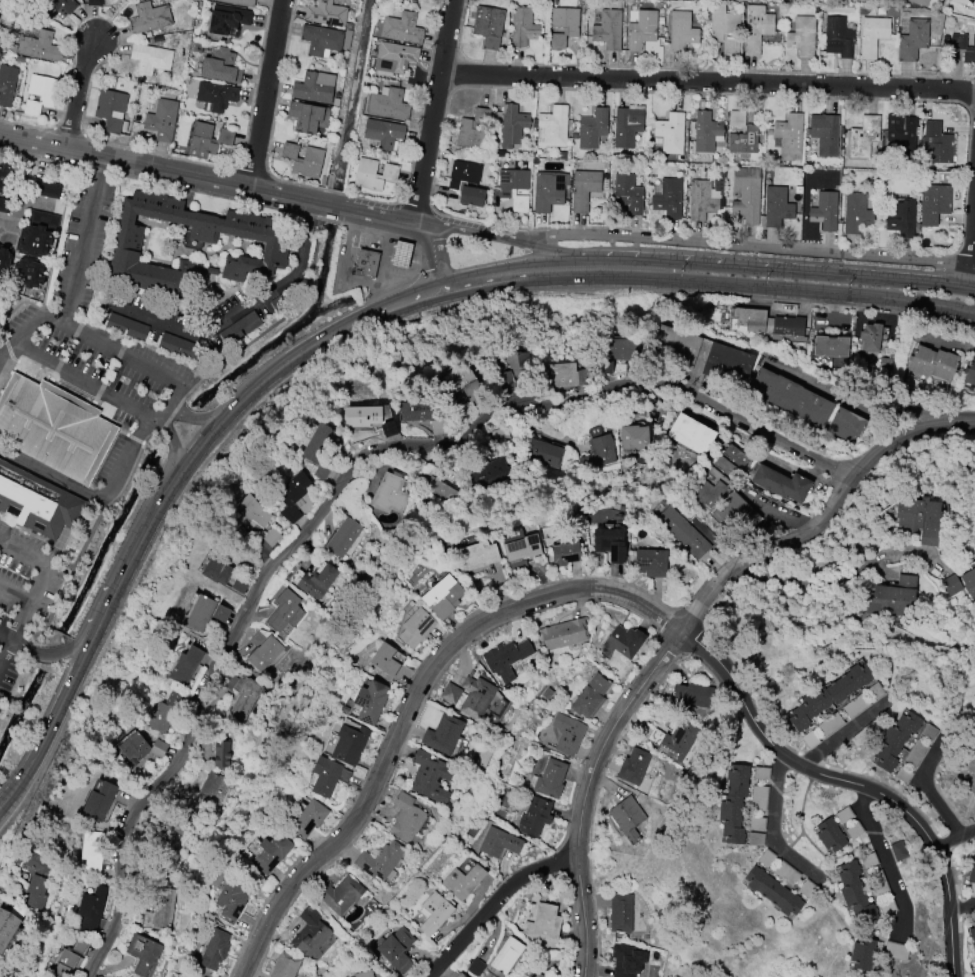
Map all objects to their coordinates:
building: (961, 1)
building: (95, 2)
building: (242, 2)
building: (923, 2)
building: (973, 5)
building: (59, 7)
building: (326, 13)
building: (150, 17)
building: (228, 20)
building: (489, 25)
building: (564, 26)
building: (524, 27)
building: (402, 28)
building: (724, 28)
building: (757, 28)
building: (609, 30)
building: (643, 30)
building: (682, 31)
building: (873, 35)
building: (801, 36)
building: (839, 36)
building: (322, 40)
building: (913, 40)
building: (36, 43)
building: (963, 47)
building: (395, 57)
building: (151, 58)
building: (222, 66)
road: (711, 81)
building: (7, 84)
building: (315, 87)
road: (266, 92)
building: (40, 94)
road: (78, 94)
building: (216, 96)
building: (389, 103)
building: (111, 108)
road: (438, 110)
building: (309, 117)
building: (162, 119)
building: (513, 125)
building: (553, 127)
building: (593, 128)
building: (626, 128)
building: (474, 130)
building: (707, 132)
building: (383, 133)
building: (671, 133)
building: (742, 134)
building: (826, 135)
building: (903, 135)
building: (864, 136)
building: (789, 137)
building: (208, 140)
building: (937, 145)
building: (303, 160)
building: (374, 174)
building: (4, 177)
road: (210, 177)
building: (457, 185)
building: (515, 187)
road: (21, 188)
building: (584, 189)
building: (51, 190)
building: (550, 190)
building: (629, 192)
building: (747, 194)
building: (667, 199)
building: (707, 199)
road: (42, 201)
building: (935, 203)
building: (4, 205)
building: (778, 206)
building: (825, 211)
building: (857, 213)
building: (902, 219)
road: (471, 232)
building: (38, 233)
road: (973, 237)
building: (128, 243)
road: (746, 246)
road: (392, 250)
road: (549, 250)
road: (433, 254)
building: (401, 255)
building: (3, 261)
building: (367, 263)
road: (507, 267)
road: (773, 269)
building: (29, 273)
road: (415, 273)
road: (970, 276)
road: (343, 280)
road: (708, 282)
road: (972, 288)
road: (242, 308)
road: (361, 319)
building: (770, 324)
building: (126, 326)
building: (871, 340)
road: (3, 346)
building: (178, 346)
building: (675, 346)
building: (829, 346)
building: (626, 349)
road: (3, 350)
building: (726, 360)
building: (933, 362)
building: (513, 369)
building: (970, 373)
building: (563, 375)
road: (175, 381)
building: (448, 383)
road: (257, 384)
building: (791, 397)
road: (853, 404)
building: (417, 410)
road: (199, 415)
building: (362, 416)
building: (846, 424)
building: (52, 428)
building: (691, 434)
building: (634, 438)
building: (318, 442)
road: (201, 444)
road: (171, 447)
building: (544, 453)
building: (599, 453)
building: (494, 473)
building: (781, 483)
road: (339, 489)
building: (441, 489)
building: (710, 492)
building: (390, 493)
building: (294, 496)
road: (92, 498)
building: (36, 501)
building: (732, 511)
building: (251, 512)
building: (920, 517)
building: (684, 532)
building: (344, 537)
building: (608, 543)
building: (523, 547)
building: (565, 554)
road: (132, 557)
building: (480, 558)
building: (651, 562)
building: (218, 568)
road: (841, 577)
road: (36, 582)
building: (239, 584)
building: (318, 584)
building: (959, 587)
road: (13, 596)
building: (443, 596)
building: (894, 597)
parking lot: (24, 598)
building: (285, 611)
building: (200, 613)
building: (415, 627)
road: (682, 630)
building: (564, 633)
road: (4, 641)
building: (624, 641)
building: (264, 650)
road: (4, 652)
road: (51, 655)
building: (385, 659)
building: (507, 659)
building: (185, 666)
building: (450, 693)
building: (693, 695)
building: (476, 696)
building: (591, 696)
building: (829, 696)
building: (246, 699)
building: (370, 701)
road: (413, 705)
building: (166, 711)
road: (50, 724)
building: (928, 731)
road: (846, 732)
building: (443, 734)
building: (568, 734)
building: (896, 740)
building: (679, 741)
building: (350, 744)
building: (143, 748)
building: (221, 754)
building: (634, 766)
road: (818, 773)
building: (328, 776)
building: (430, 777)
building: (550, 779)
road: (925, 784)
building: (212, 791)
building: (99, 801)
building: (734, 803)
building: (535, 816)
building: (407, 817)
building: (629, 817)
building: (309, 819)
road: (773, 828)
building: (830, 835)
road: (954, 839)
building: (499, 842)
building: (169, 847)
building: (93, 850)
building: (898, 851)
building: (272, 852)
building: (381, 860)
road: (886, 860)
building: (972, 878)
building: (38, 880)
building: (463, 881)
building: (774, 892)
building: (855, 893)
building: (341, 894)
building: (233, 896)
road: (494, 903)
road: (963, 905)
building: (164, 906)
building: (92, 908)
building: (435, 913)
building: (621, 913)
building: (544, 924)
building: (7, 929)
building: (311, 932)
building: (972, 935)
road: (952, 941)
building: (215, 949)
building: (397, 949)
building: (897, 951)
building: (142, 953)
building: (863, 953)
building: (507, 955)
building: (70, 957)
building: (626, 960)
building: (286, 965)
building: (364, 974)
building: (459, 975)
building: (536, 976)
building: (541, 976)

